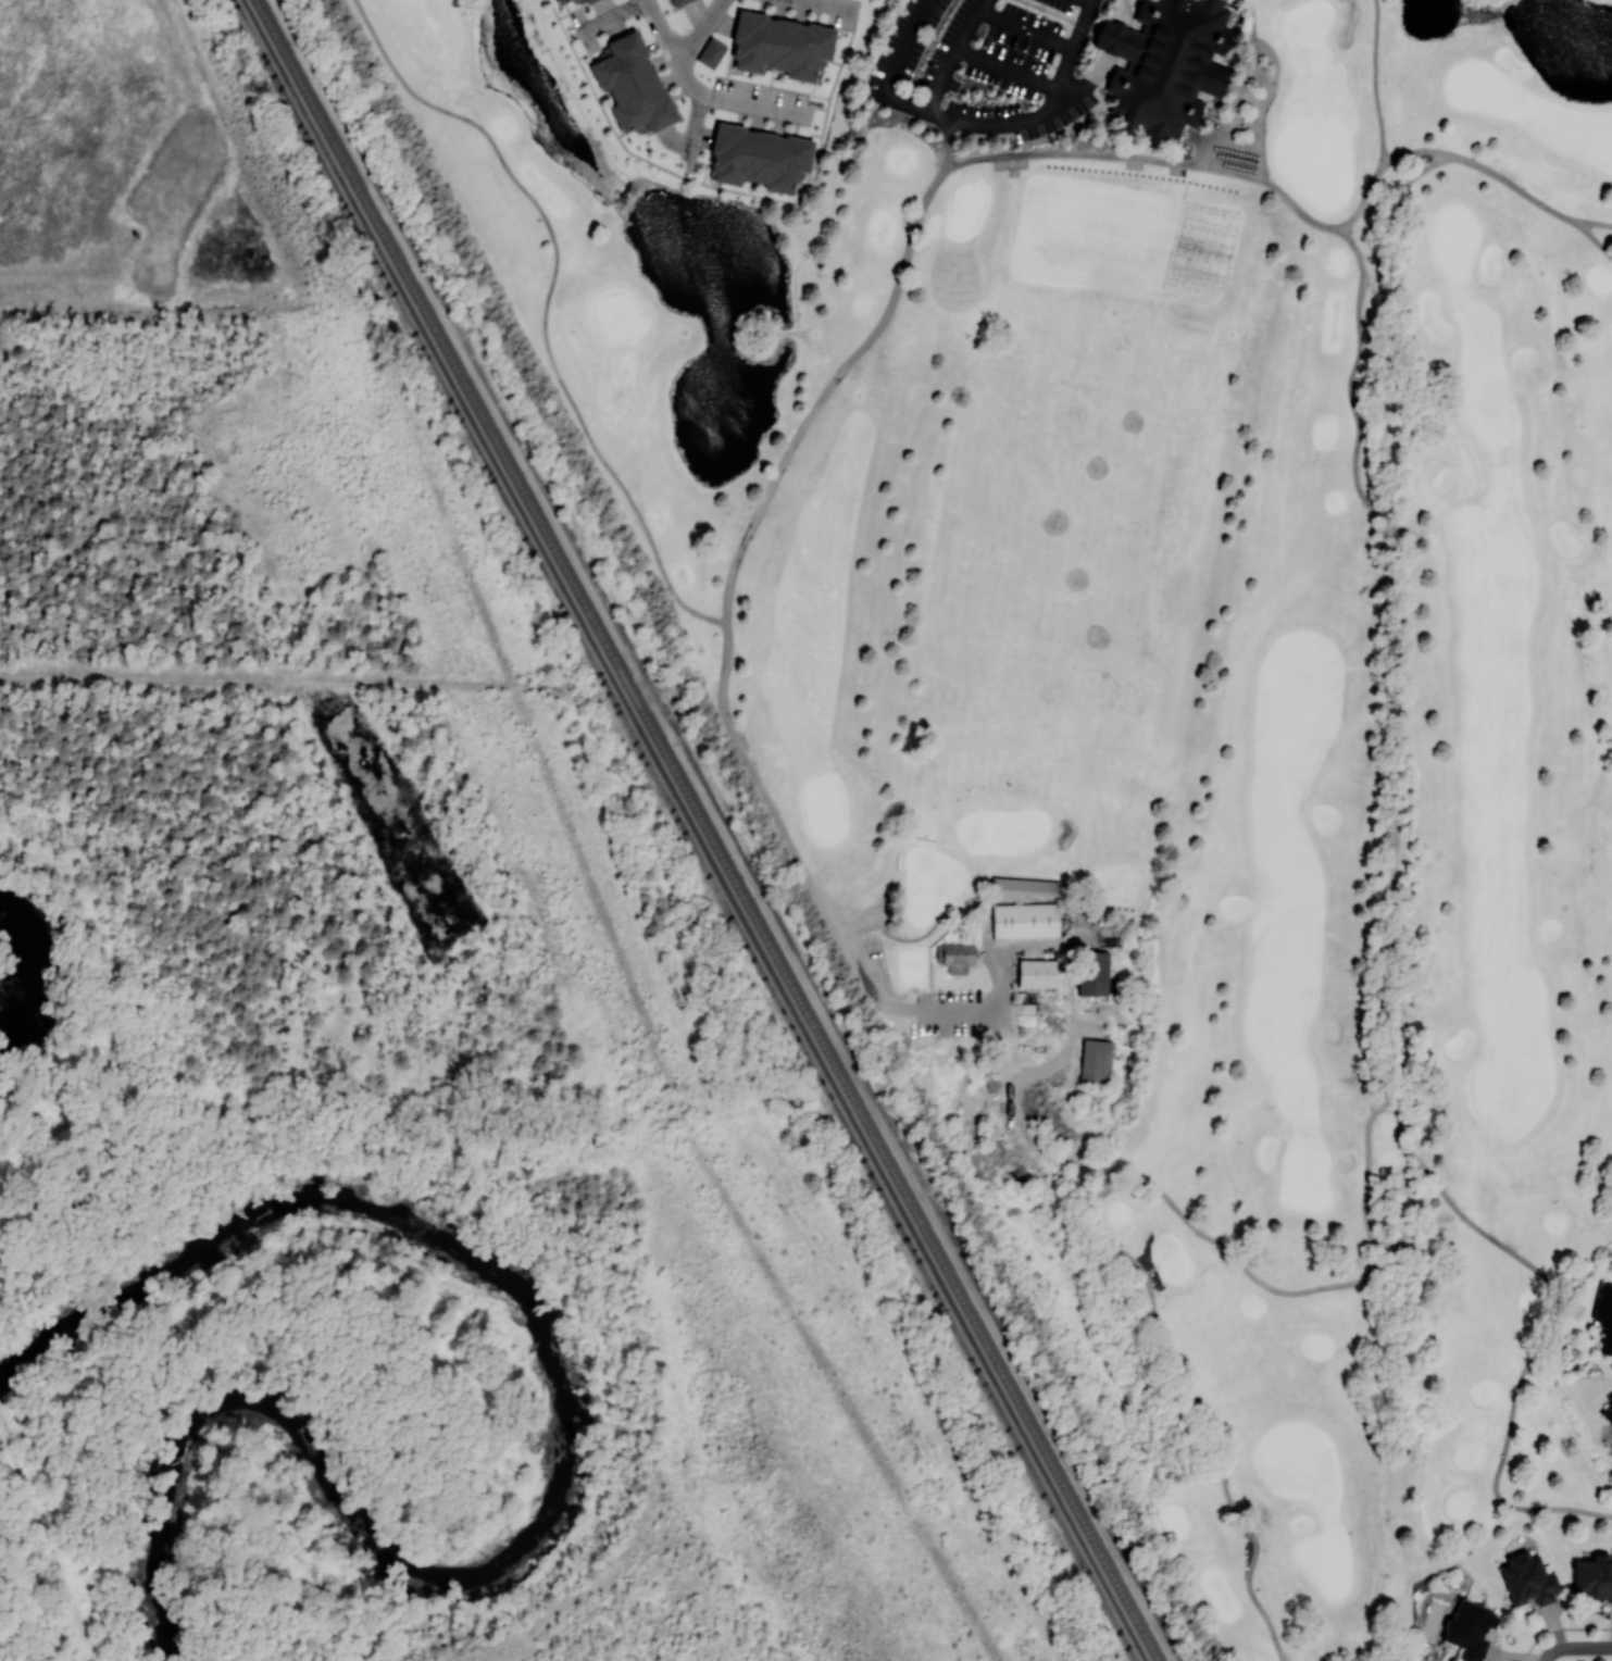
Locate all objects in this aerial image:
road: (1092, 0)
building: (562, 1)
building: (589, 1)
building: (677, 2)
road: (839, 2)
road: (608, 15)
road: (1252, 20)
road: (662, 25)
road: (700, 28)
road: (1027, 29)
building: (1120, 41)
building: (778, 42)
road: (903, 46)
road: (1076, 46)
building: (711, 52)
road: (953, 53)
road: (1105, 61)
parking lot: (977, 63)
building: (1171, 66)
road: (1007, 71)
road: (684, 73)
road: (1375, 82)
building: (632, 84)
road: (754, 102)
road: (1263, 103)
road: (1234, 105)
road: (975, 125)
road: (696, 127)
road: (947, 146)
railway: (326, 151)
road: (1415, 151)
road: (1075, 153)
building: (759, 157)
road: (1235, 173)
road: (1514, 185)
road: (1365, 198)
road: (1298, 208)
road: (1594, 223)
road: (1594, 238)
road: (548, 300)
road: (1351, 379)
road: (826, 390)
park: (1086, 536)
road: (1392, 607)
road: (267, 679)
road: (722, 683)
park: (1150, 684)
park: (1015, 695)
railway: (709, 829)
road: (785, 834)
building: (1027, 886)
road: (858, 917)
building: (1025, 921)
road: (1014, 948)
building: (964, 952)
building: (1039, 971)
building: (1092, 972)
railway: (776, 982)
road: (896, 1009)
road: (1003, 1046)
building: (1096, 1061)
road: (1041, 1073)
road: (996, 1085)
road: (1040, 1150)
road: (790, 1165)
road: (558, 1181)
road: (1309, 1289)
building: (1604, 1316)
road: (1550, 1334)
building: (1608, 1410)
road: (1207, 1416)
road: (4, 1439)
river: (559, 1456)
road: (52, 1556)
building: (1592, 1578)
building: (1528, 1579)
building: (1470, 1628)
road: (1575, 1647)

